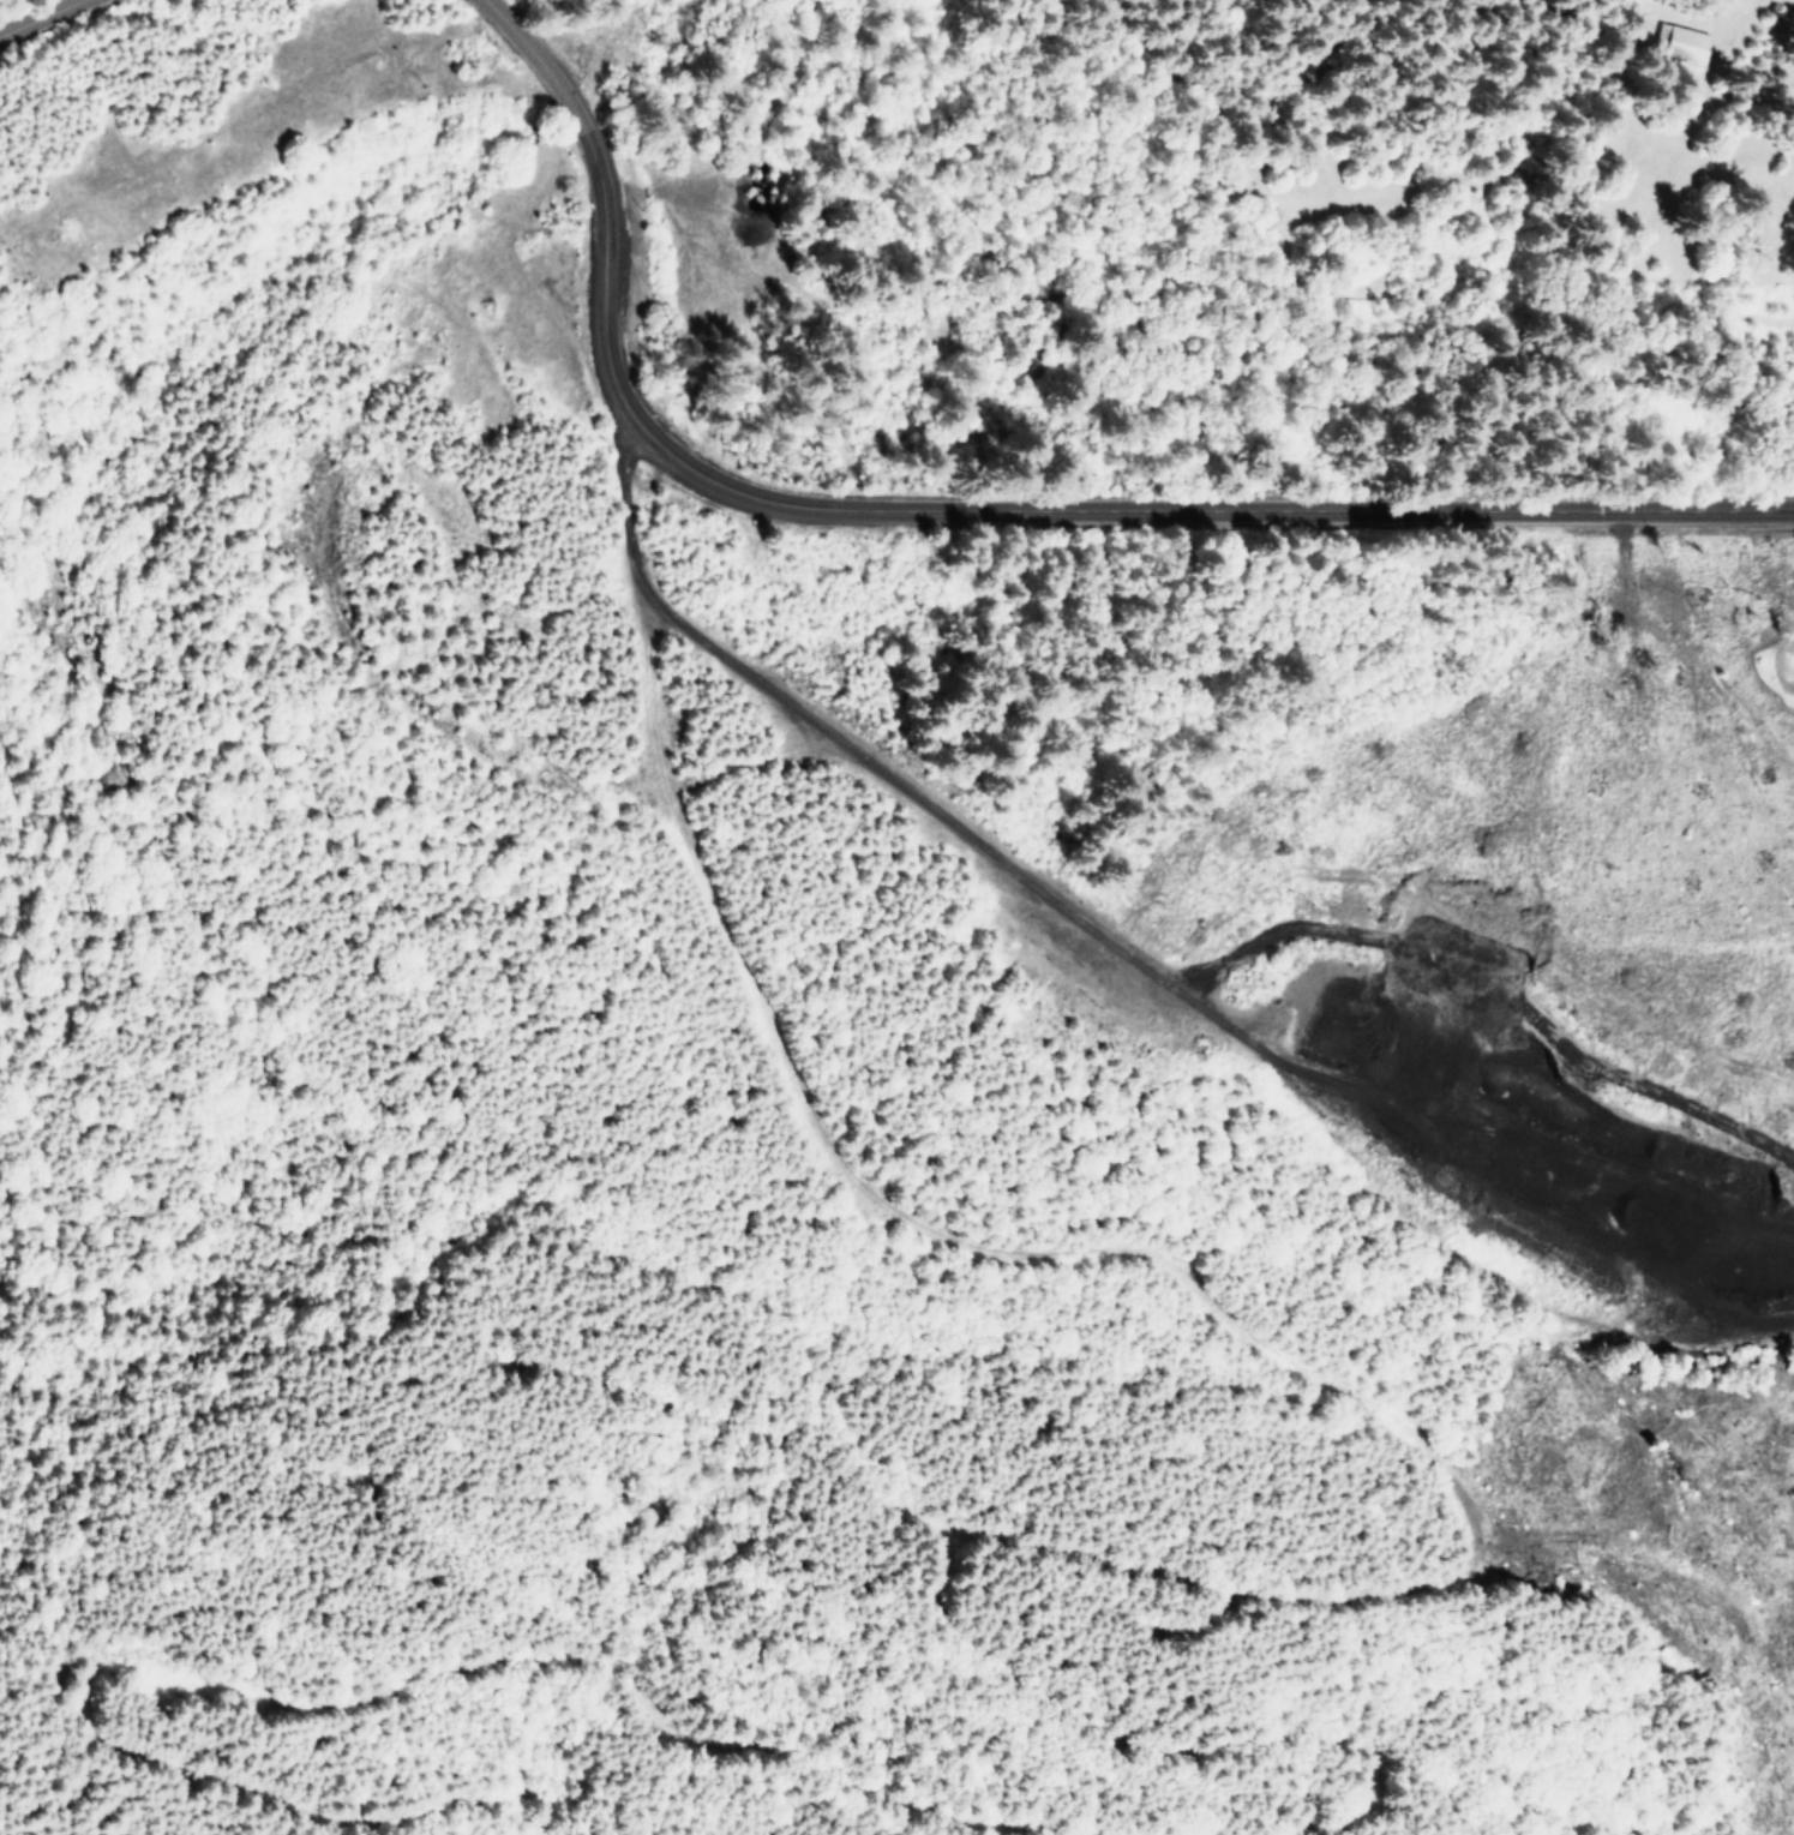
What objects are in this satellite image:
road: (41, 18)
road: (964, 511)
road: (436, 732)
road: (1130, 955)
quarry: (1589, 1195)
road: (740, 1434)
road: (1427, 1468)
road: (331, 1708)

